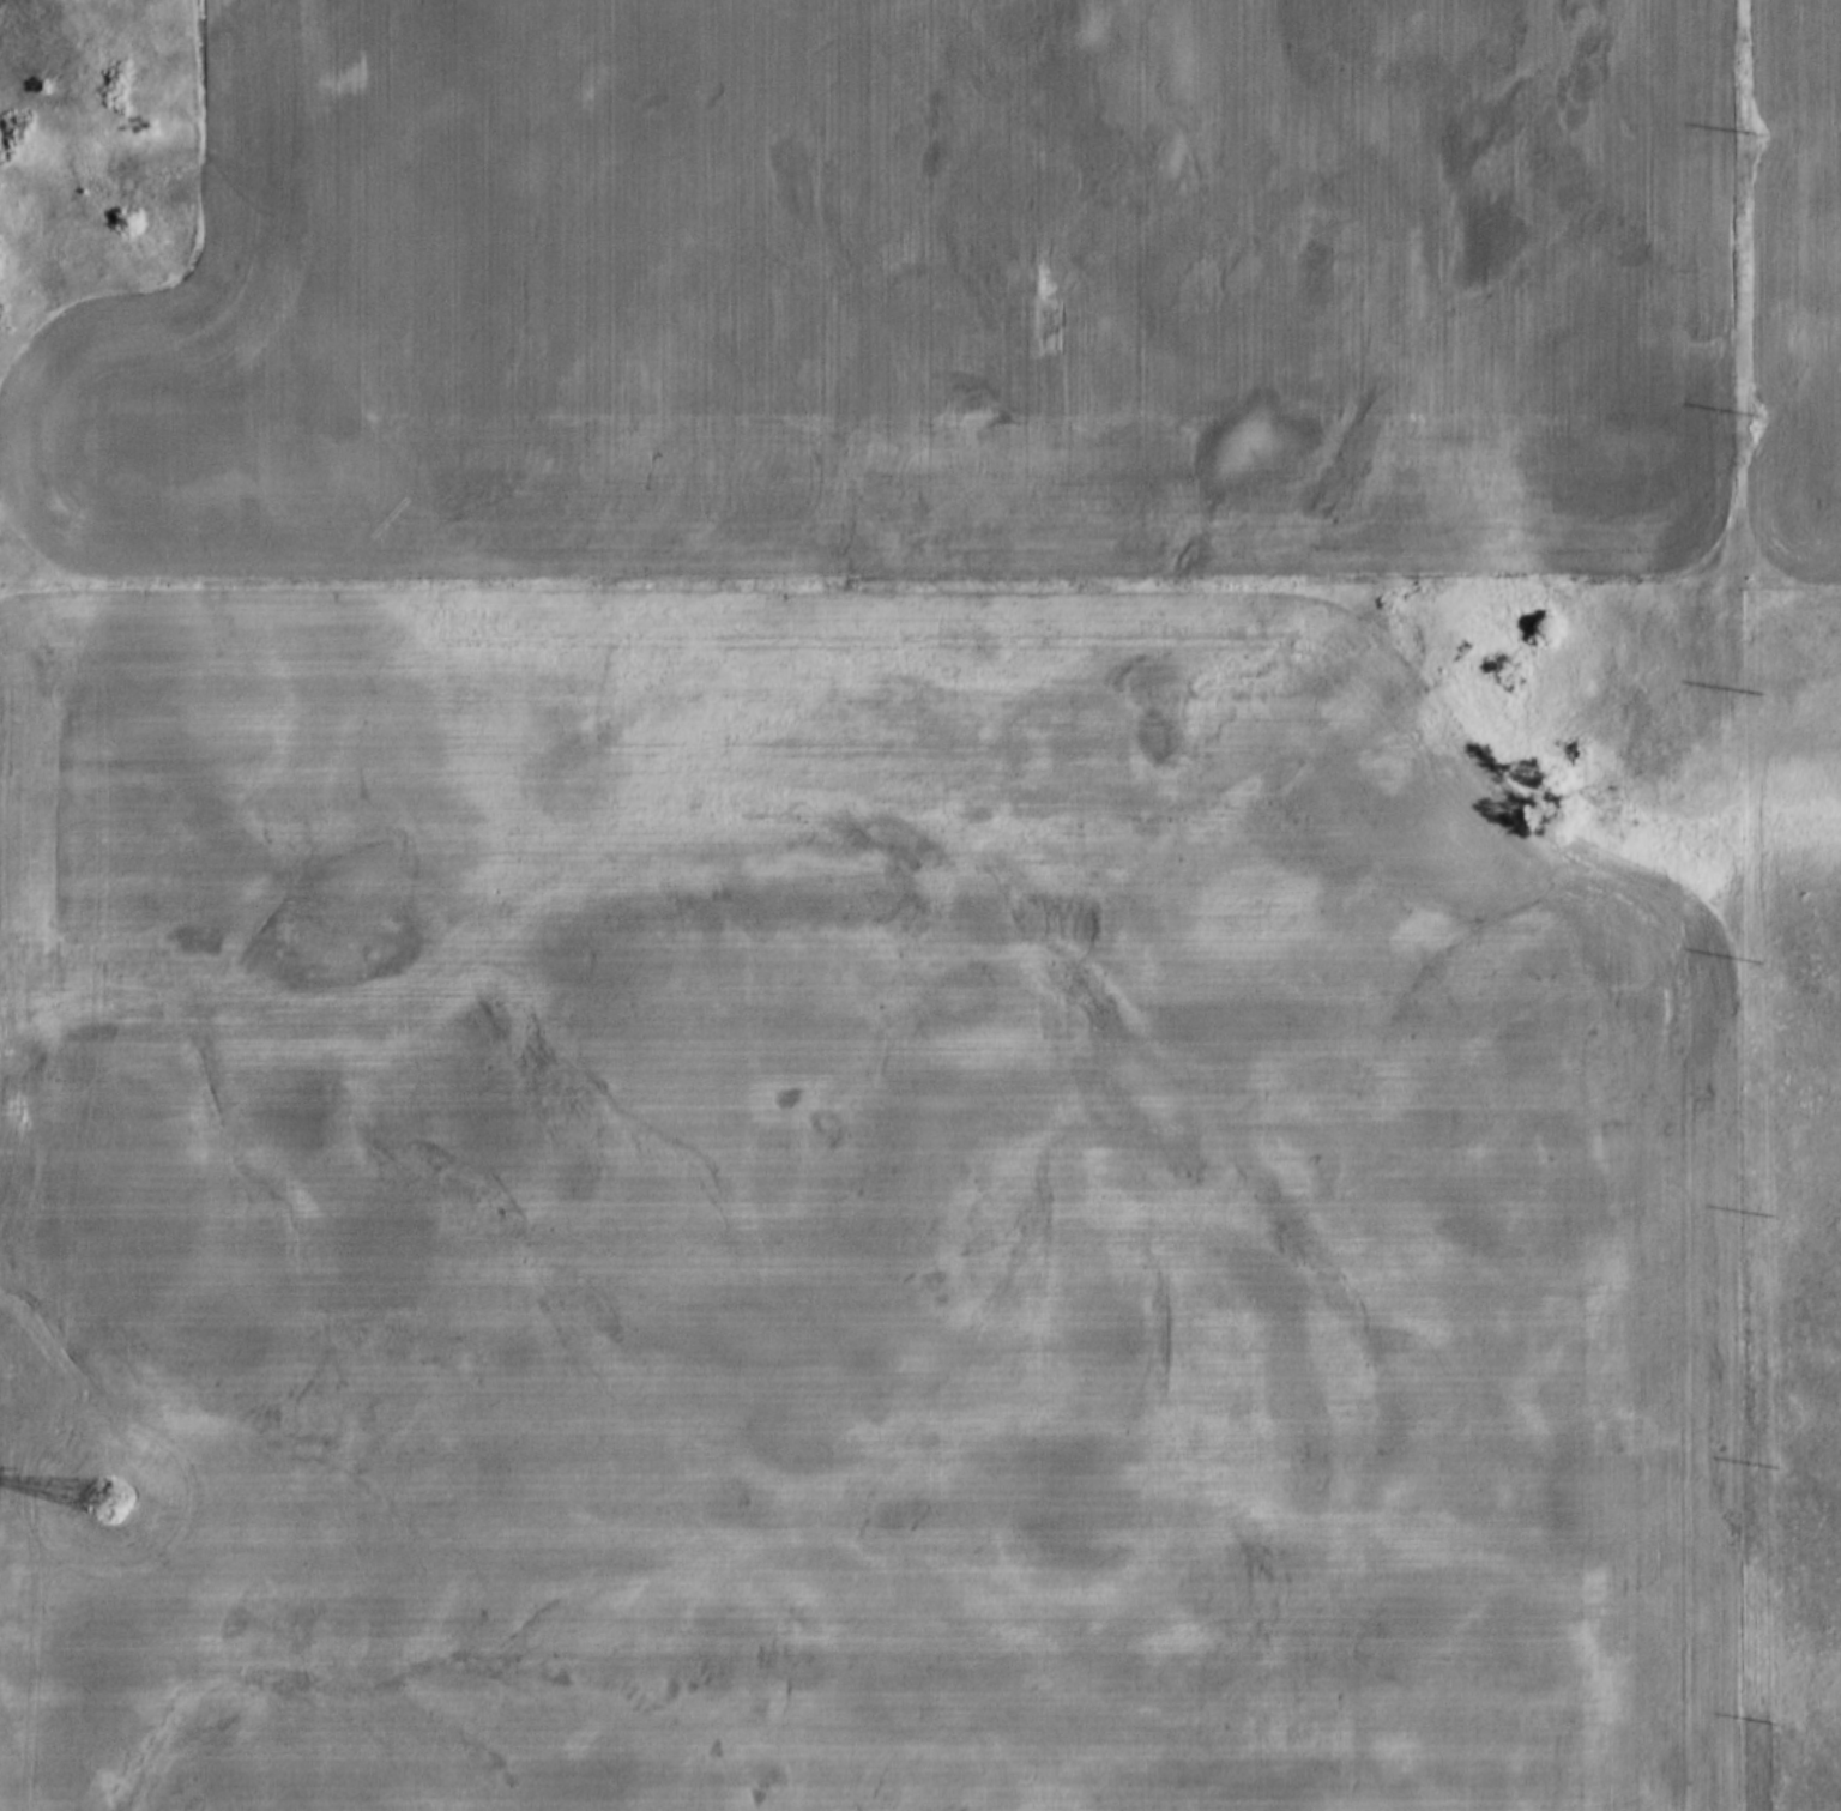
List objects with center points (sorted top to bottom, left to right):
power tower: (123, 1509)

